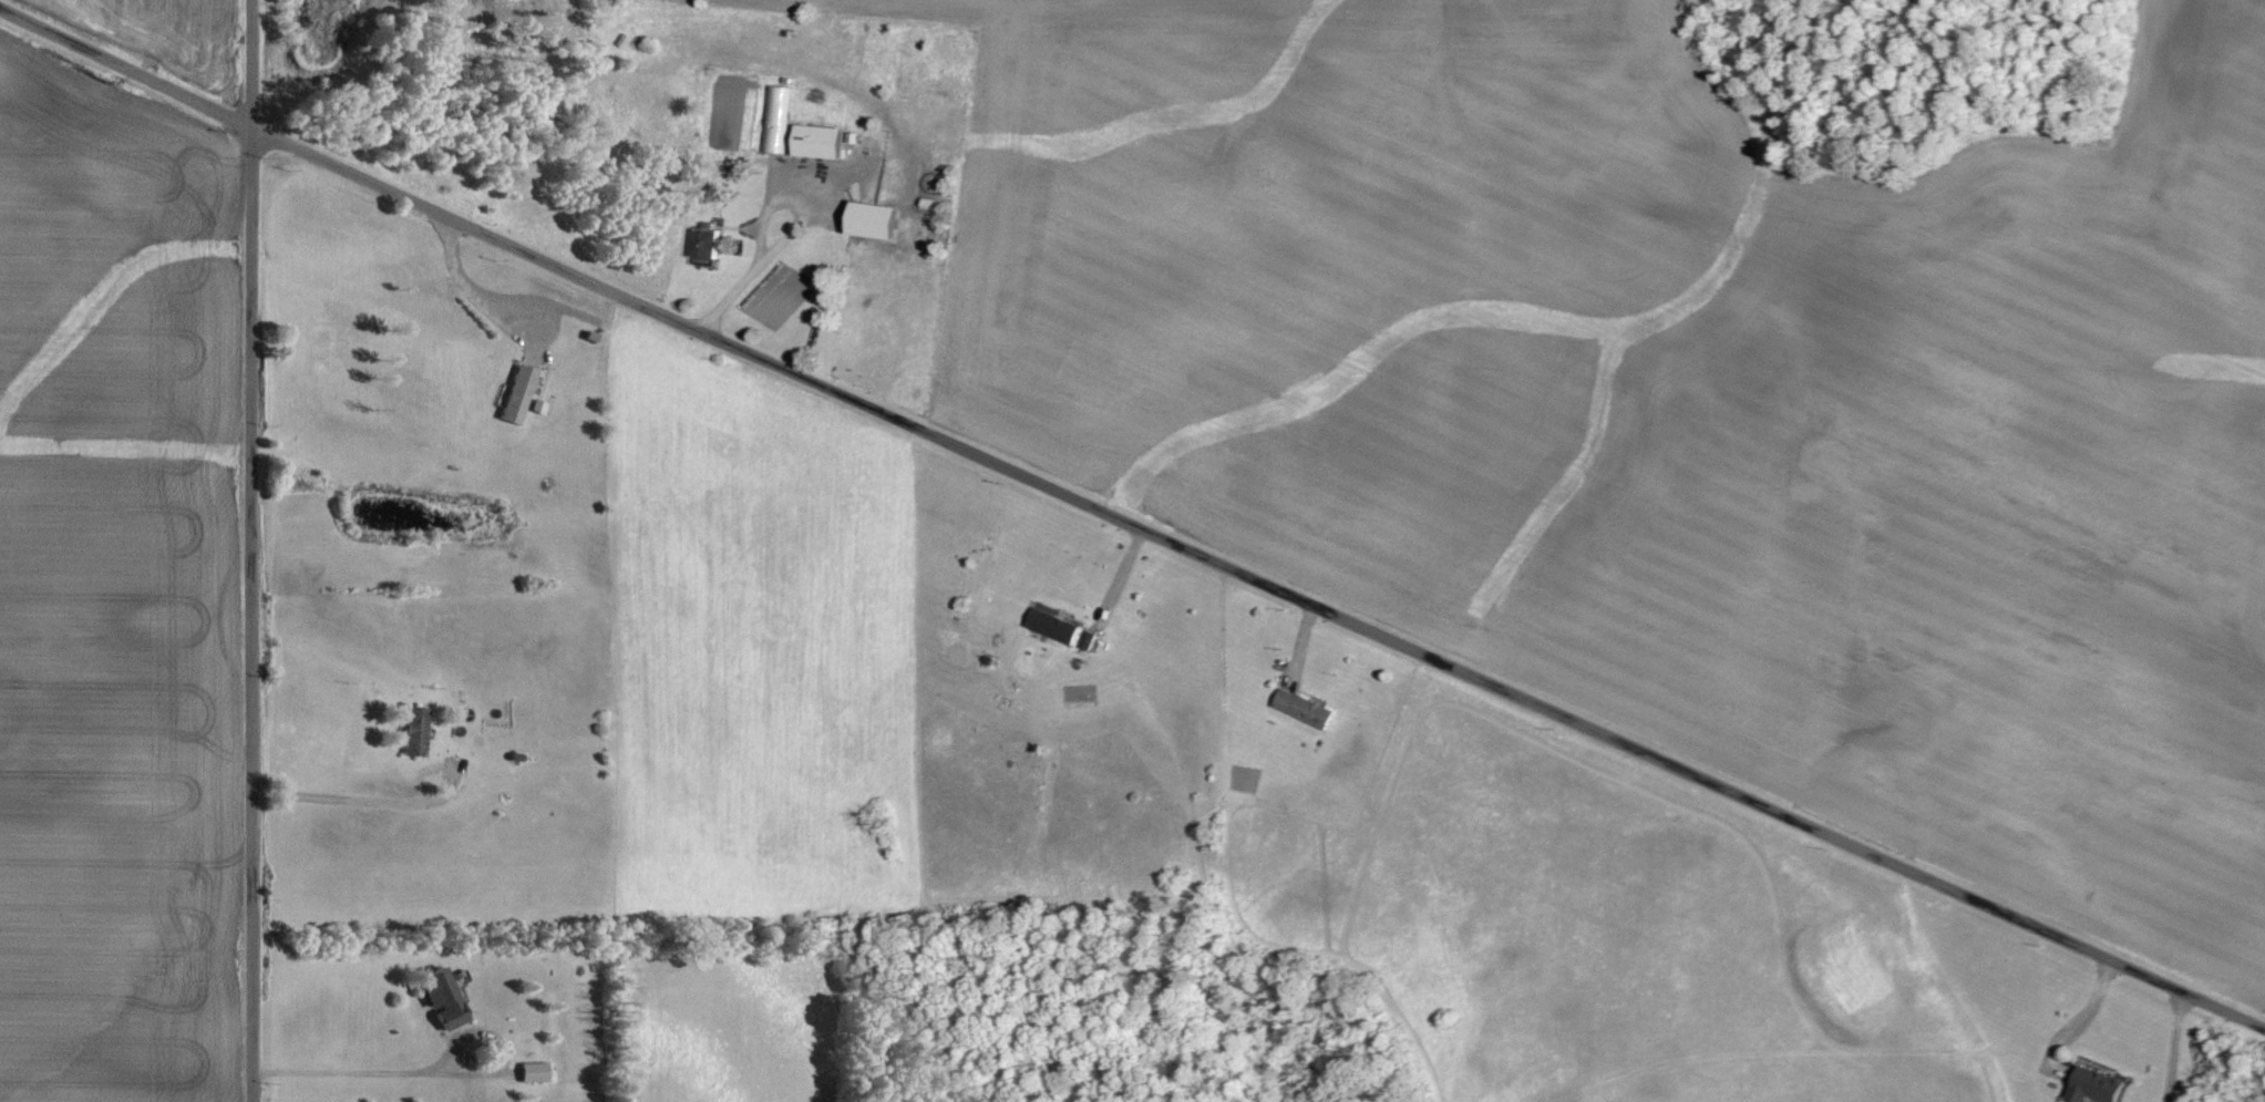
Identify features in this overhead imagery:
building: (775, 119)
building: (812, 141)
building: (867, 220)
road: (790, 229)
building: (700, 244)
road: (496, 311)
building: (513, 393)
road: (1128, 524)
road: (250, 550)
building: (1051, 625)
building: (1087, 639)
building: (1301, 708)
building: (418, 729)
road: (364, 794)
building: (445, 998)
road: (2175, 1046)
road: (437, 1068)
building: (536, 1070)
building: (2091, 1085)

